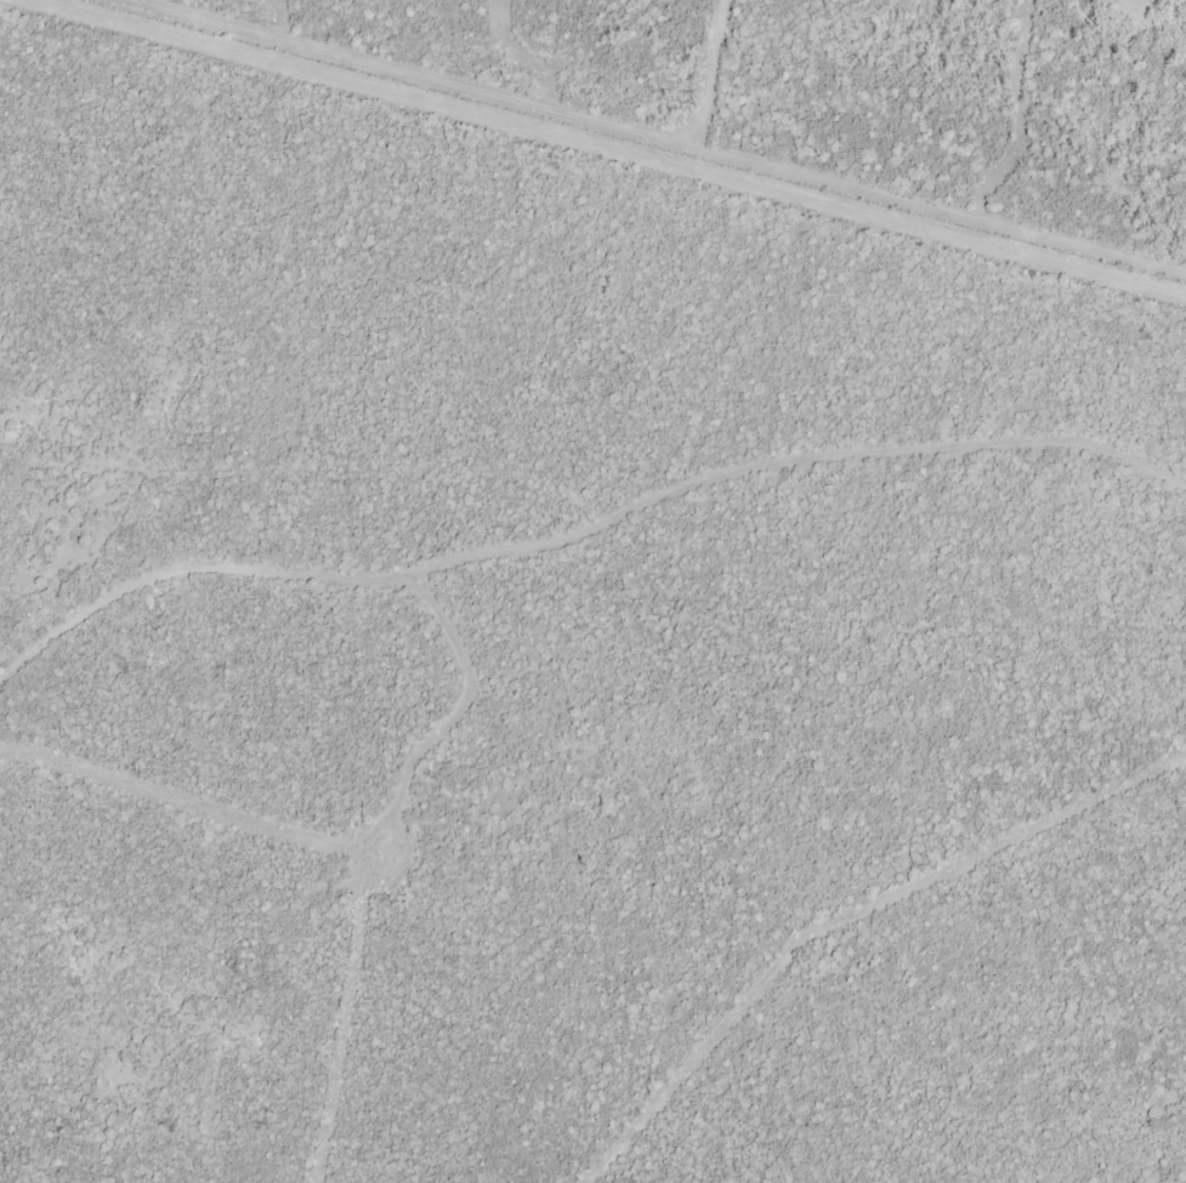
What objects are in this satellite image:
road: (606, 584)

